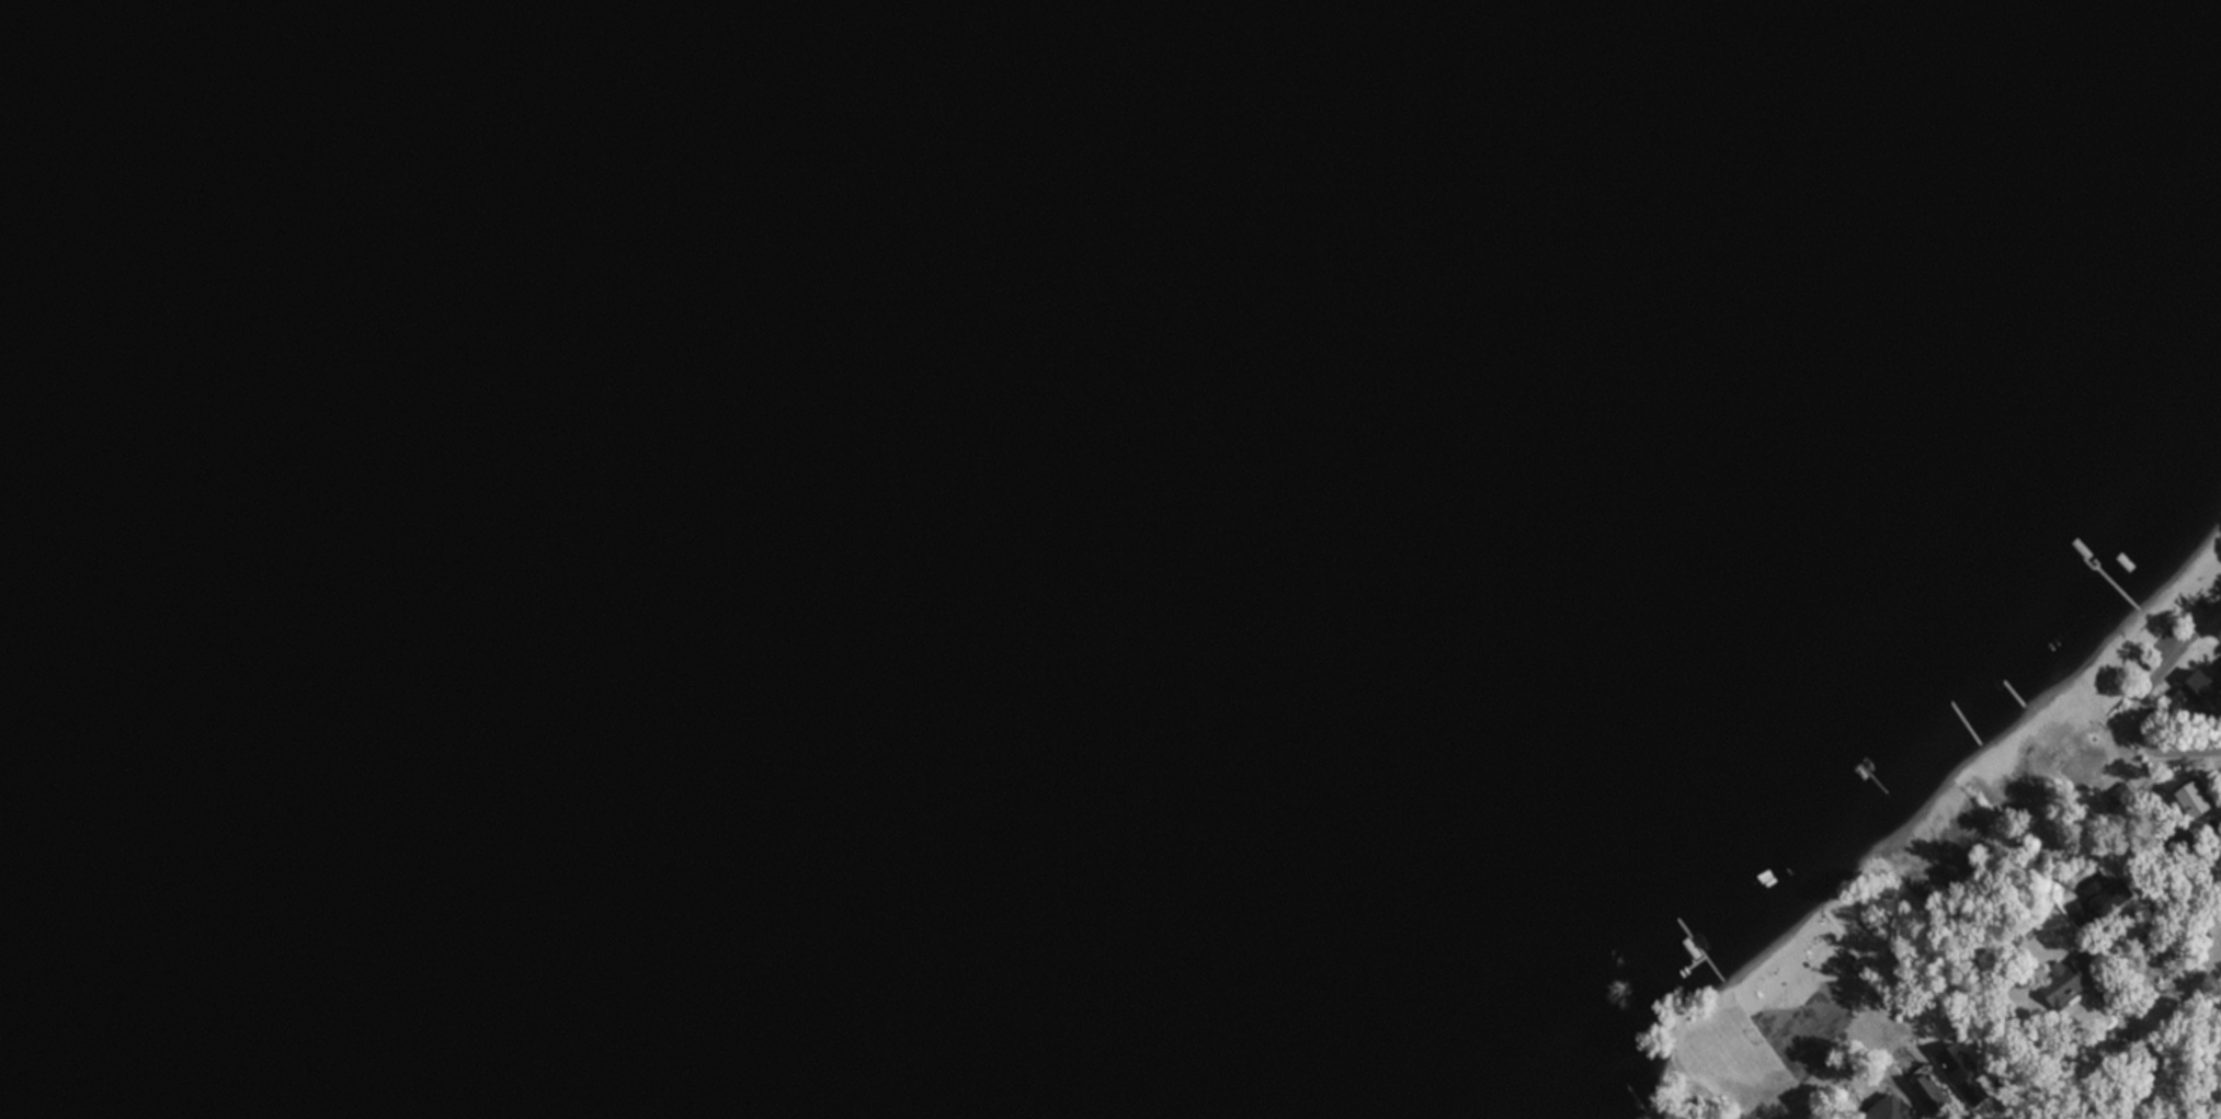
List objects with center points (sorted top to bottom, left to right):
road: (2172, 660)
building: (2210, 687)
road: (2166, 744)
building: (2184, 800)
building: (2063, 975)
building: (1884, 1108)

